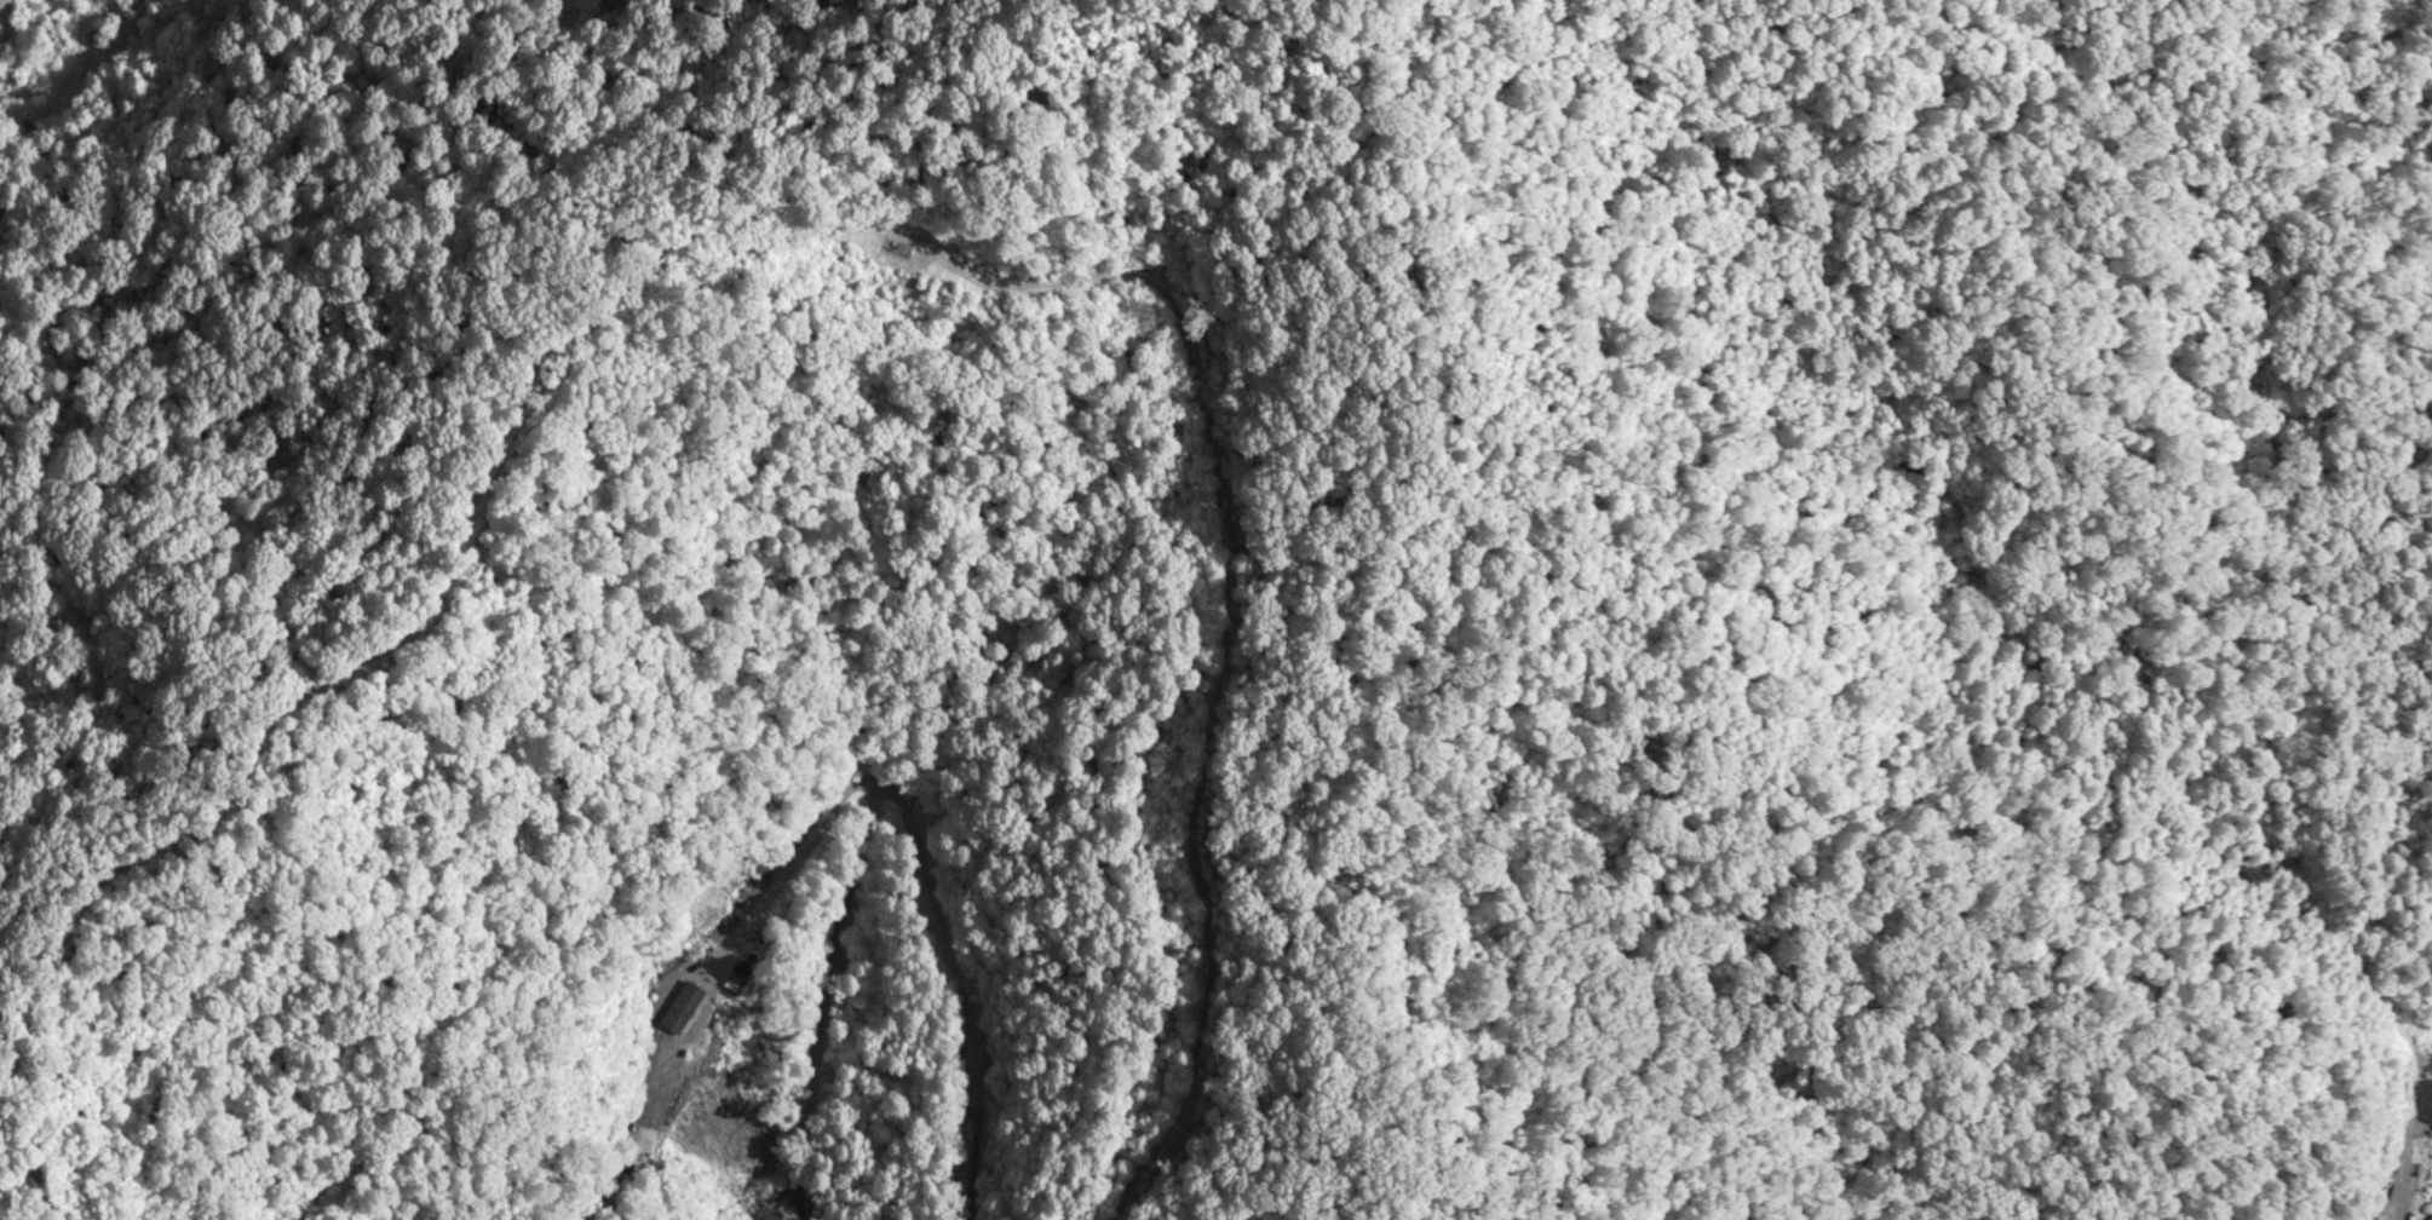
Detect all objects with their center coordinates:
road: (48, 67)

